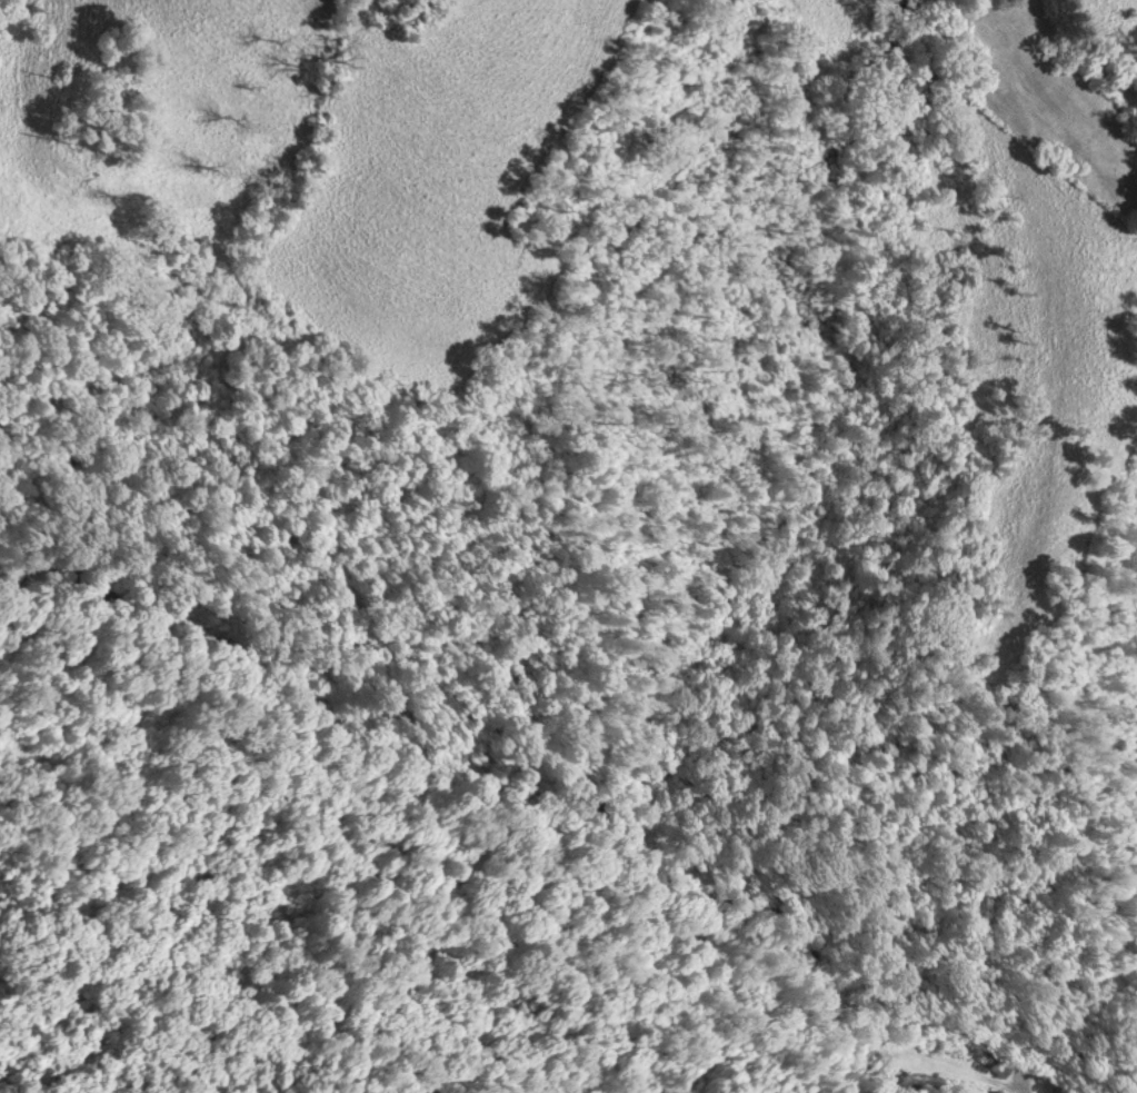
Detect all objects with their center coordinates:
building: (996, 1061)
building: (1068, 1089)

